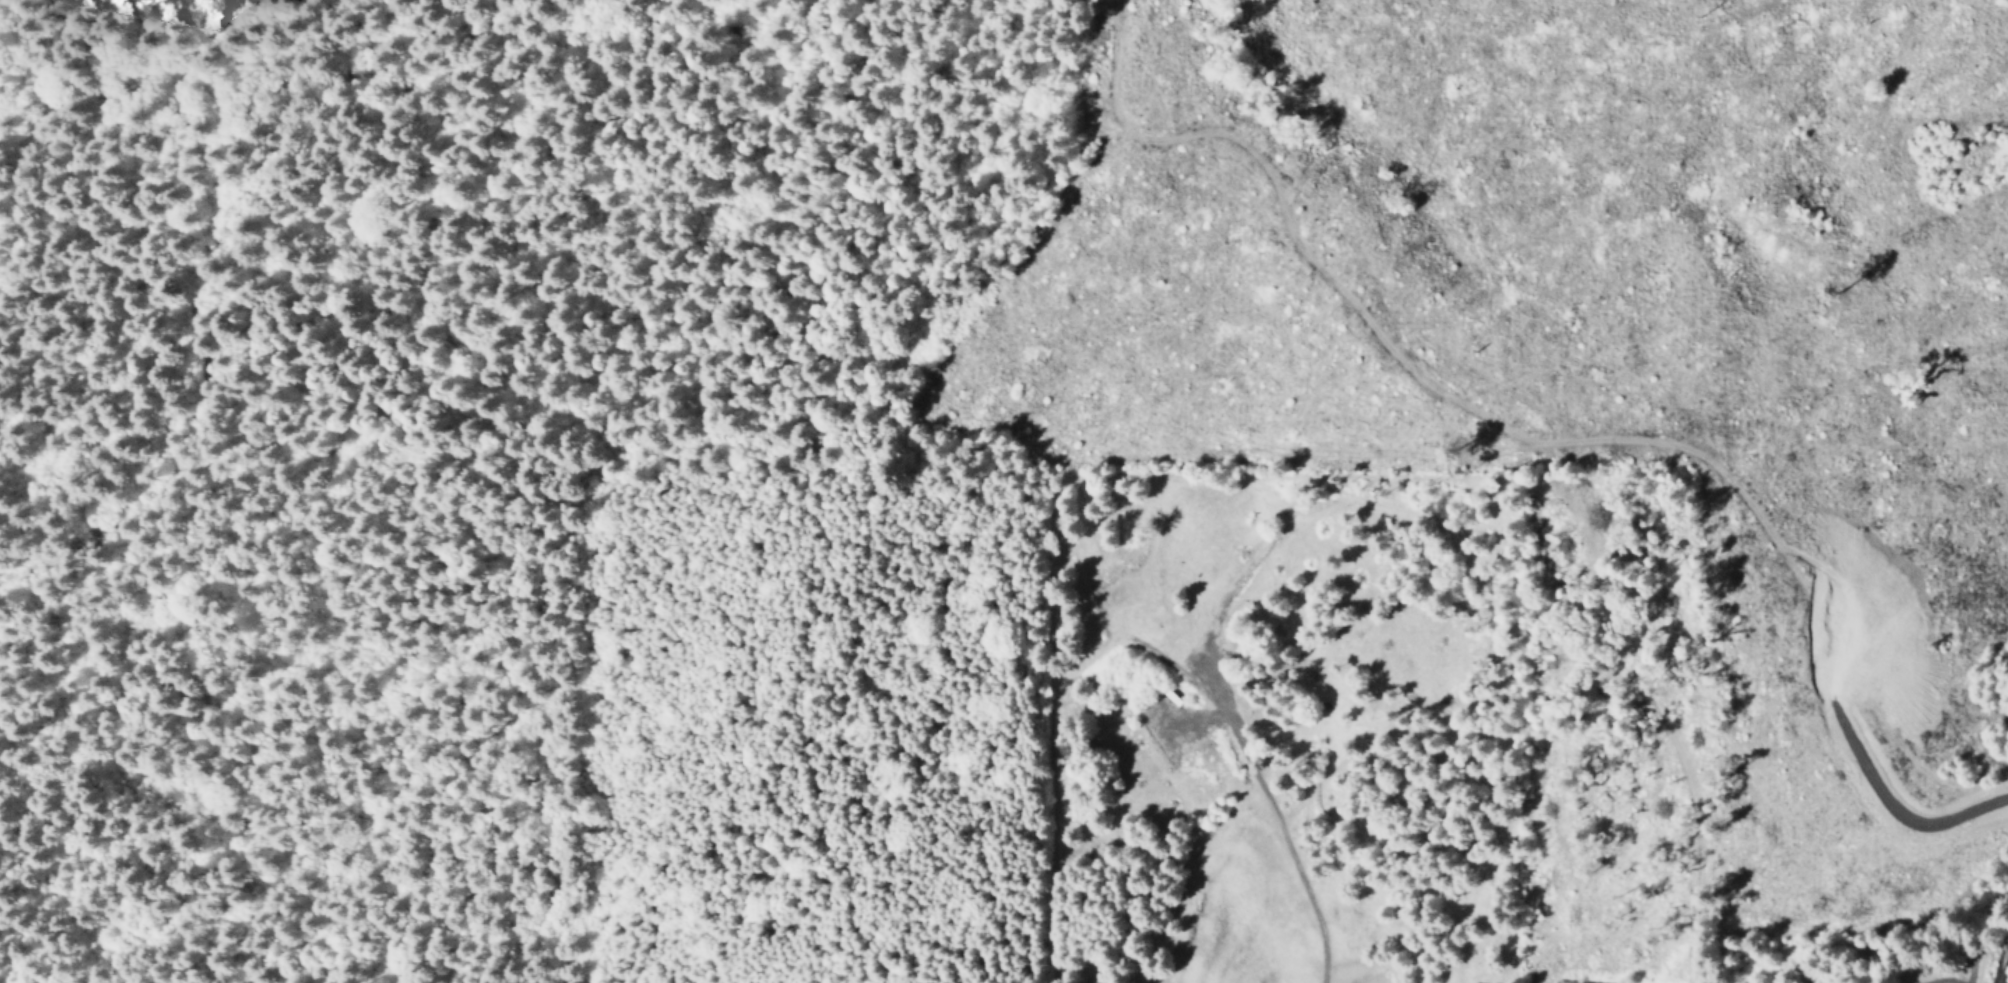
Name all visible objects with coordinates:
road: (1256, 786)
building: (1563, 982)

